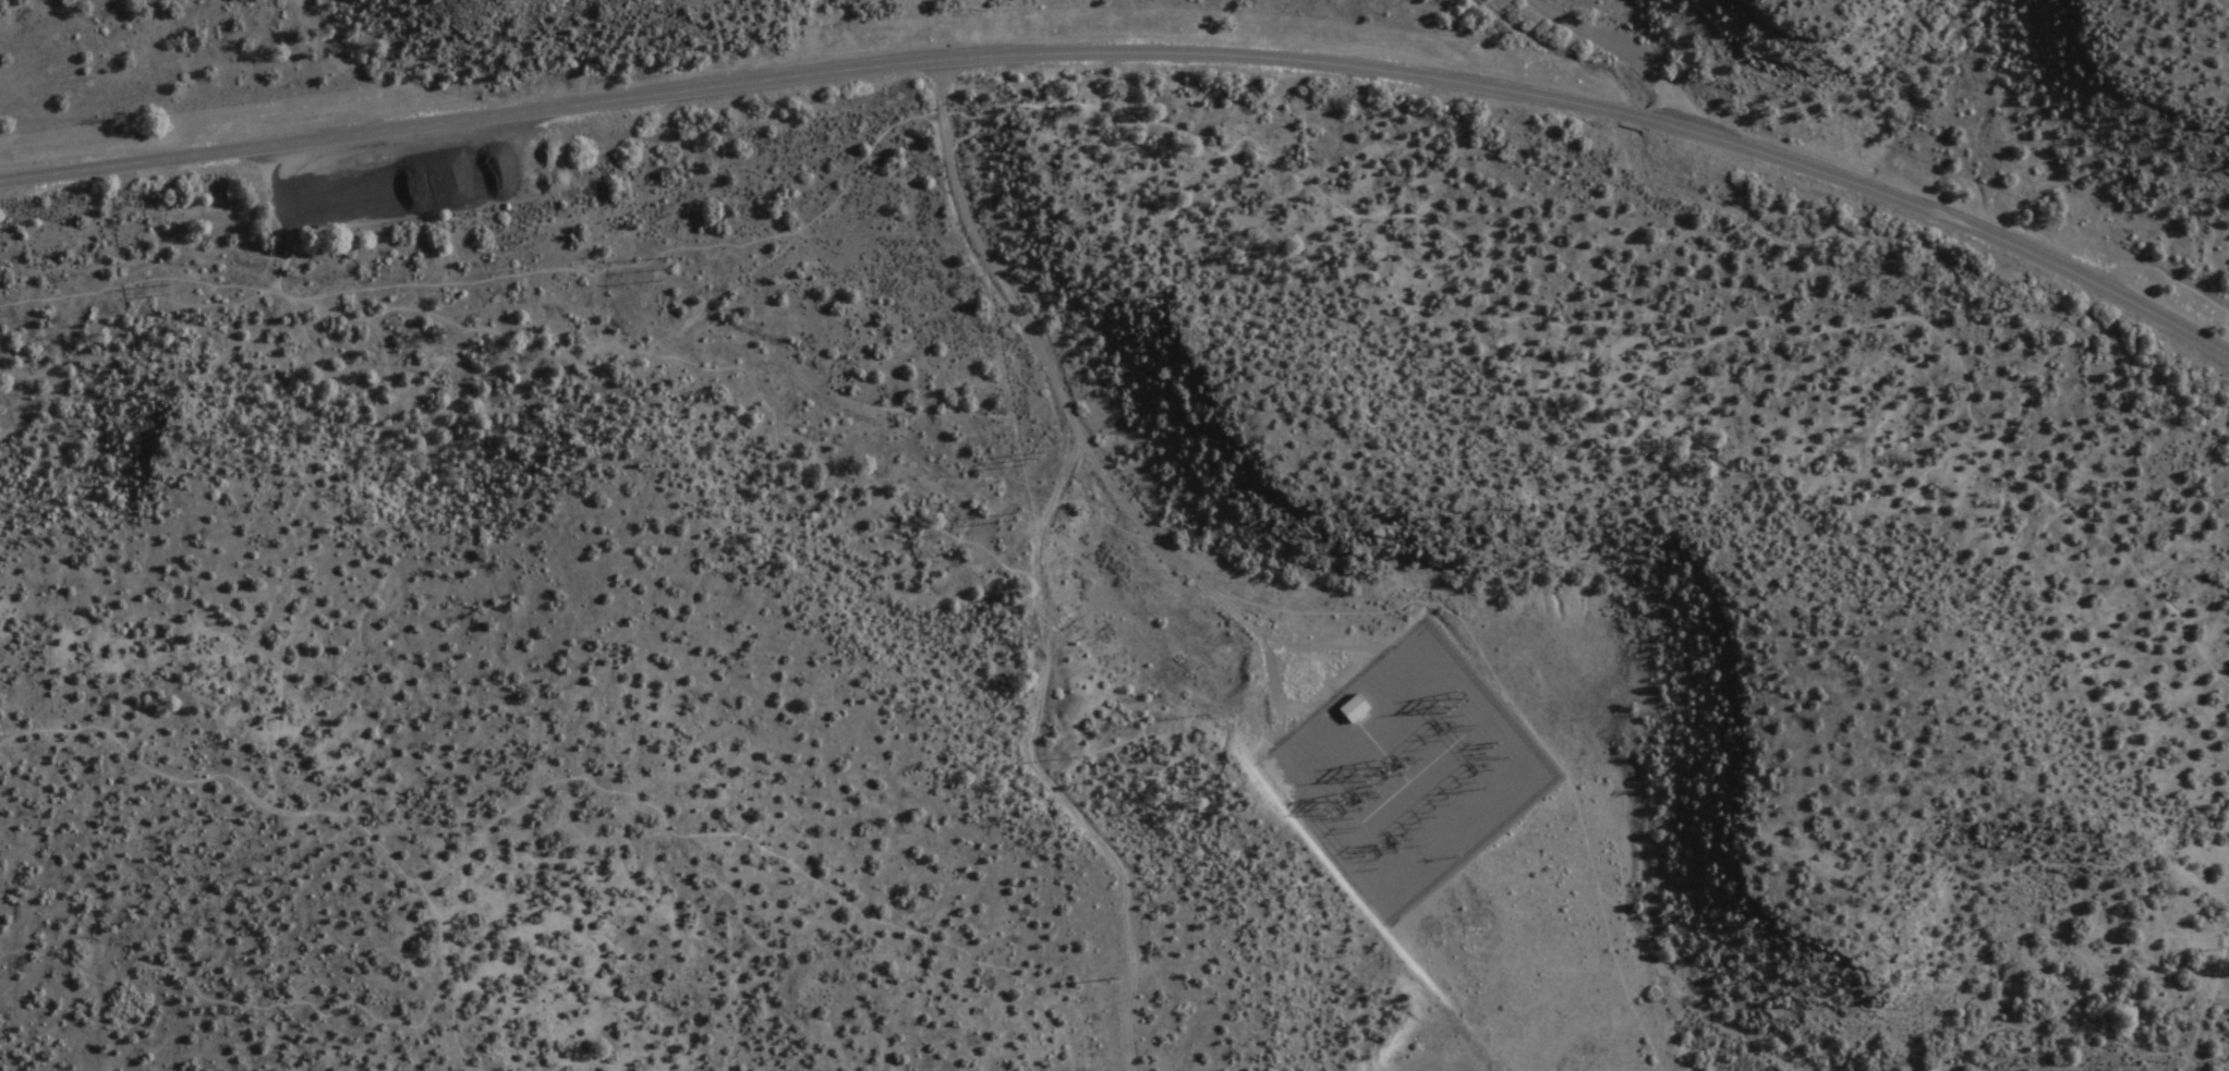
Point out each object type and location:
road: (1615, 48)
road: (1138, 53)
road: (1224, 153)
parking lot: (388, 183)
road: (288, 257)
road: (702, 361)
road: (1070, 413)
road: (304, 549)
road: (1044, 679)
building: (1349, 707)
road: (1524, 719)
power substation: (1401, 769)
road: (530, 798)
road: (447, 932)
road: (258, 997)
road: (2209, 1026)
road: (453, 1037)

